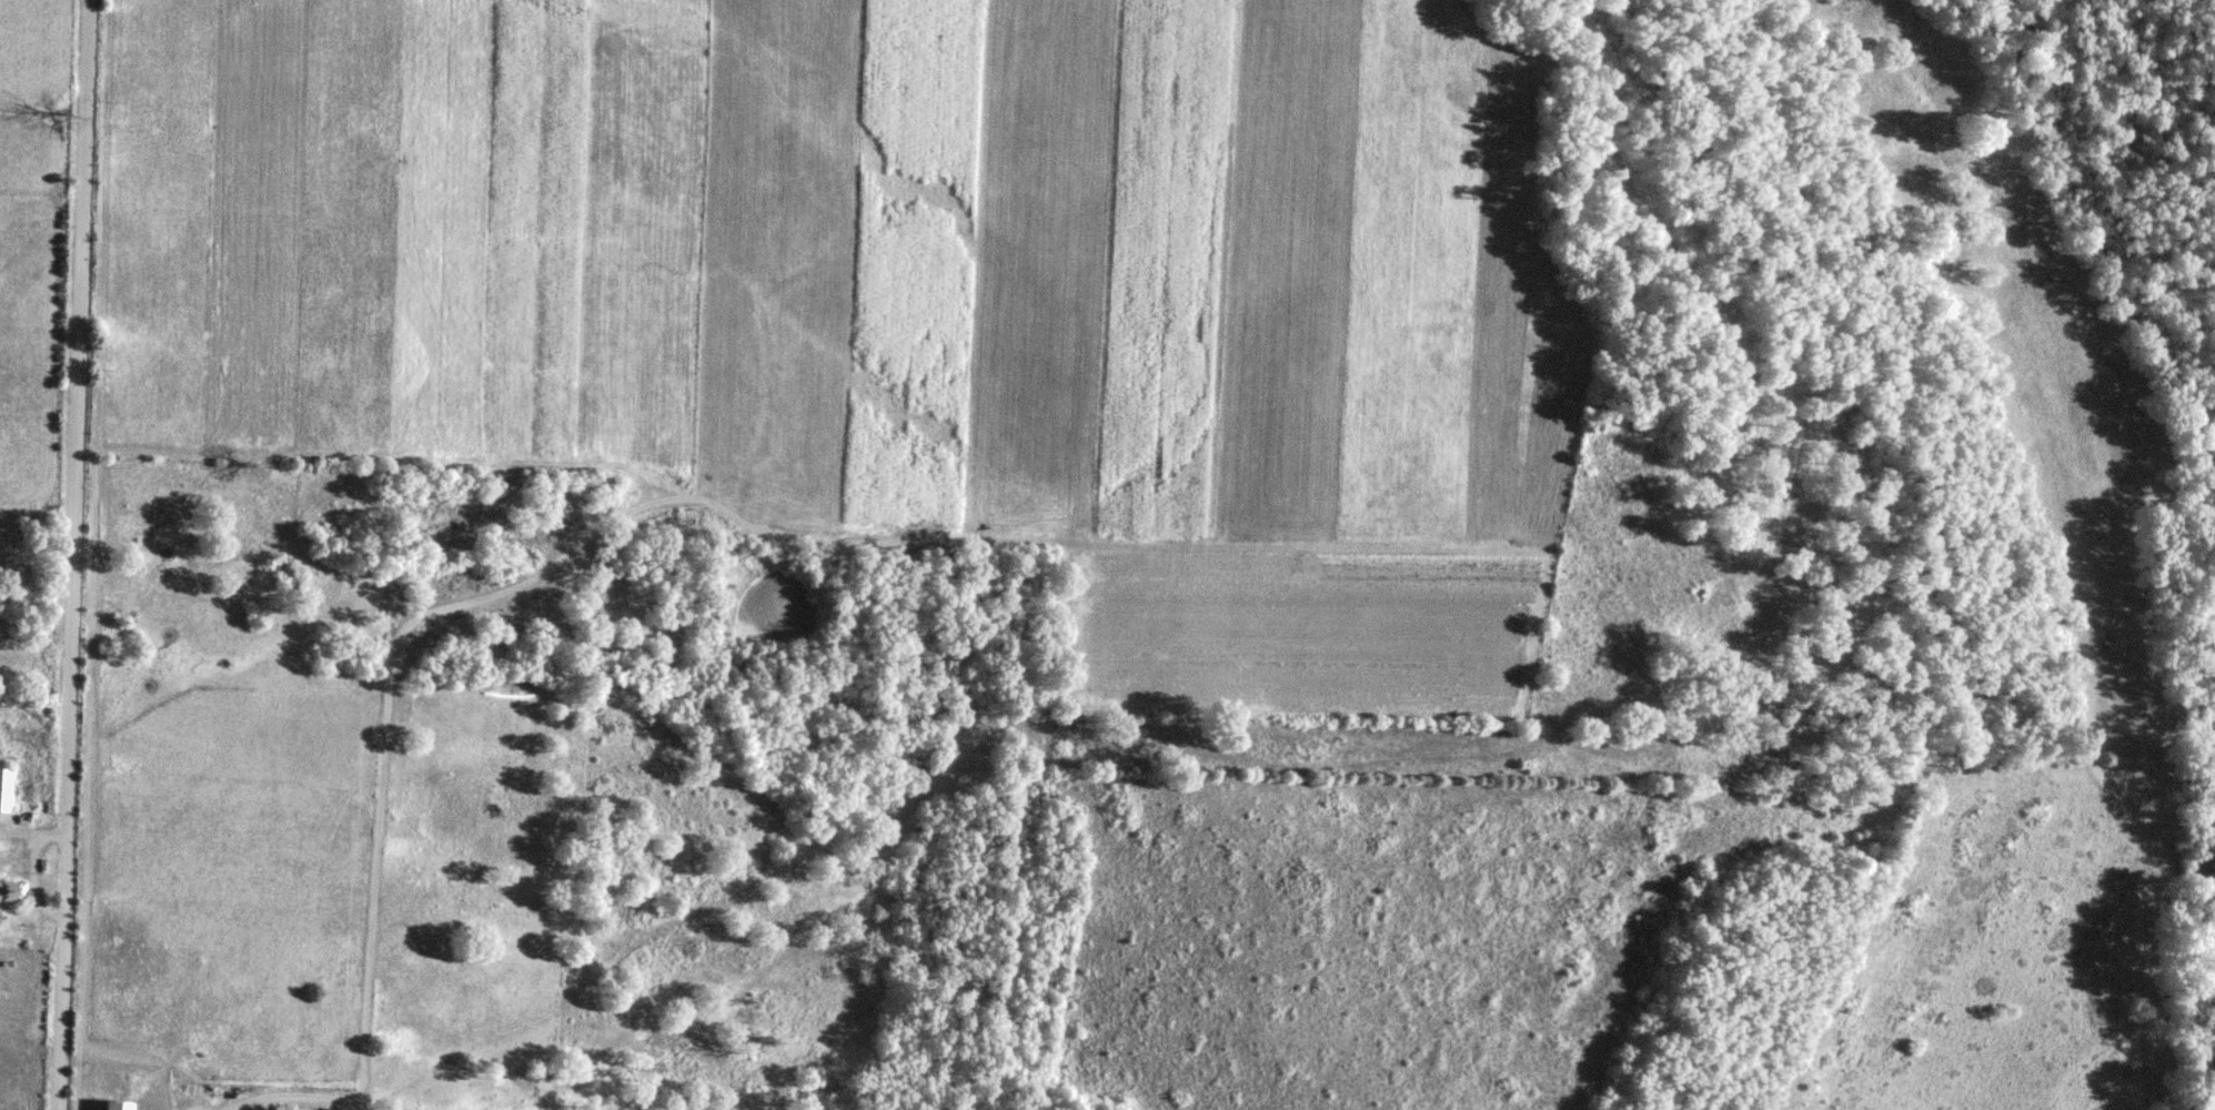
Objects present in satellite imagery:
road: (75, 555)
building: (6, 790)
building: (10, 892)
building: (120, 1107)

